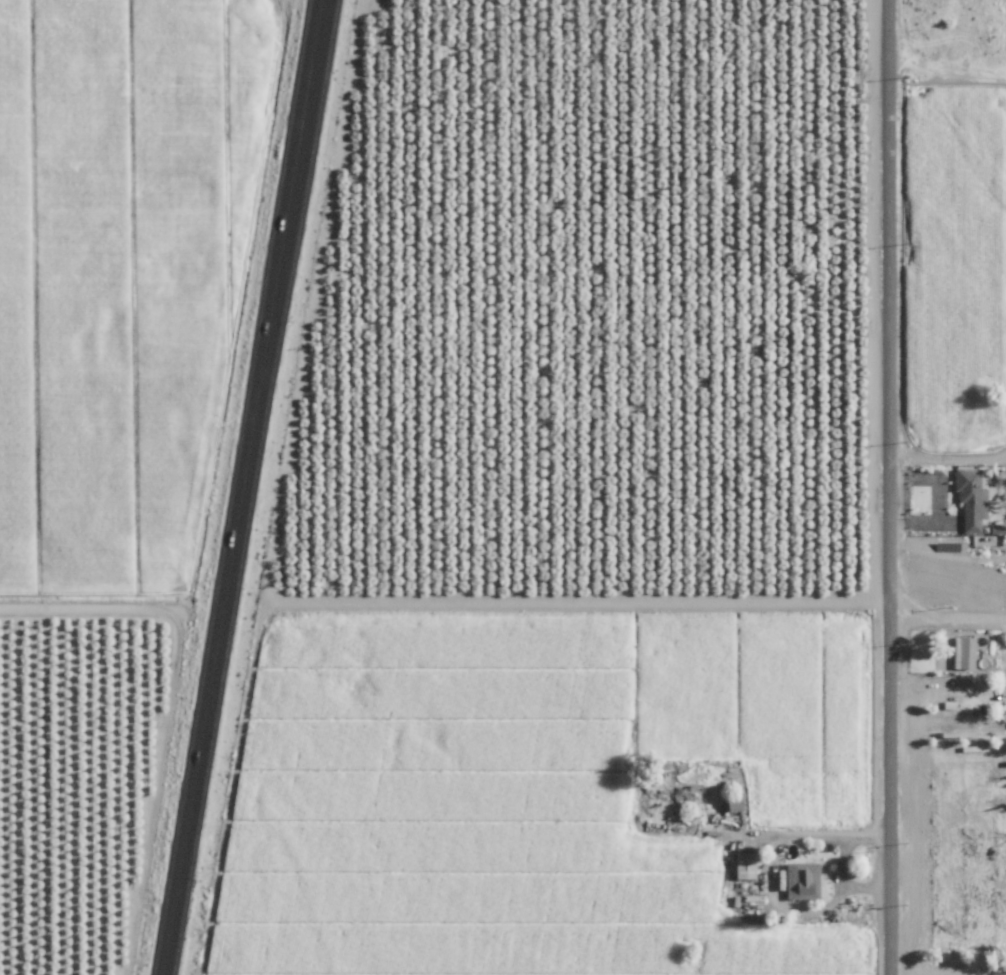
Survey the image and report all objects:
crop: (127, 279)
road: (244, 487)
road: (890, 487)
building: (972, 498)
road: (948, 613)
building: (966, 653)
crop: (80, 776)
crop: (556, 794)
building: (746, 866)
building: (803, 880)

